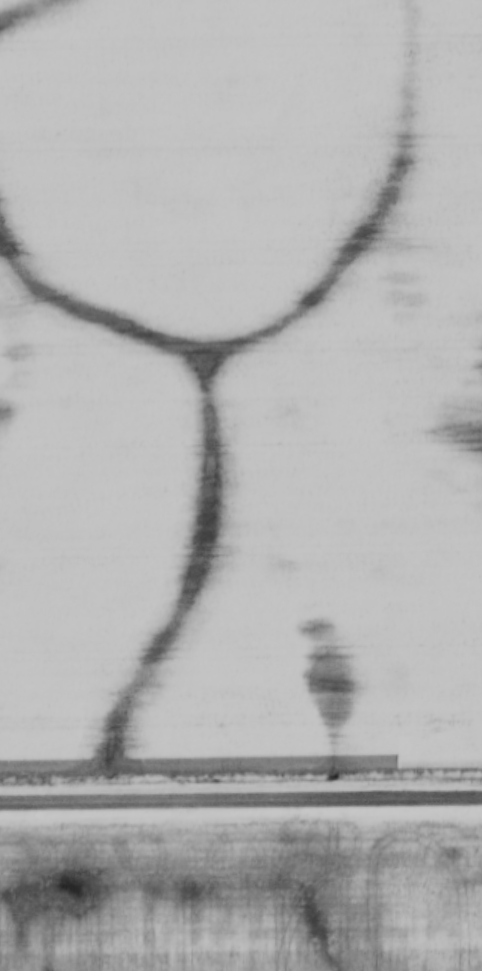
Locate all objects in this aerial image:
road: (241, 806)

